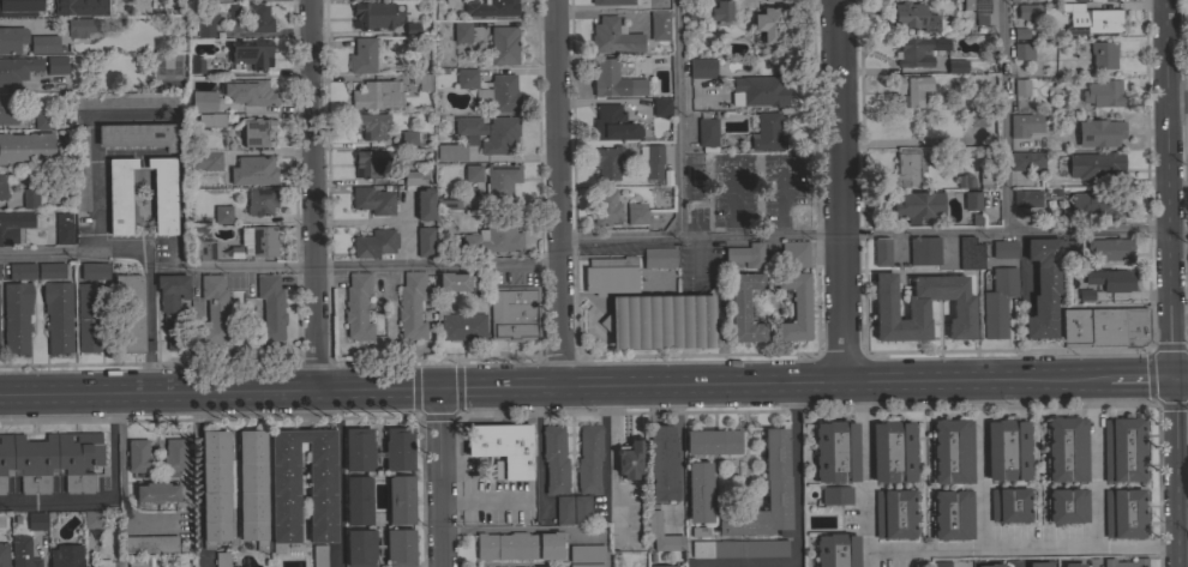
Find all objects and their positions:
building: (444, 0)
building: (772, 0)
building: (1016, 0)
building: (1031, 0)
building: (611, 1)
building: (1187, 6)
building: (79, 7)
building: (491, 7)
building: (7, 8)
building: (977, 8)
building: (690, 10)
building: (720, 11)
building: (1027, 11)
building: (372, 14)
building: (258, 17)
building: (911, 17)
building: (1092, 19)
building: (768, 23)
building: (205, 24)
building: (658, 25)
building: (83, 26)
road: (266, 31)
building: (406, 31)
building: (461, 31)
building: (1016, 35)
building: (613, 37)
building: (11, 38)
building: (44, 44)
building: (503, 44)
building: (917, 50)
building: (1022, 50)
building: (251, 53)
building: (1102, 54)
building: (362, 55)
building: (1187, 60)
building: (55, 64)
building: (196, 65)
building: (956, 66)
building: (701, 67)
building: (17, 68)
building: (466, 78)
building: (421, 80)
building: (613, 80)
building: (1020, 86)
building: (910, 89)
building: (757, 91)
building: (248, 92)
building: (1103, 94)
building: (376, 95)
building: (498, 95)
building: (126, 99)
road: (1177, 99)
building: (203, 101)
building: (661, 107)
building: (8, 109)
road: (1004, 115)
road: (677, 117)
building: (974, 117)
building: (211, 120)
building: (41, 121)
building: (1022, 123)
building: (371, 125)
building: (612, 125)
building: (257, 132)
building: (490, 132)
building: (768, 132)
building: (1099, 132)
building: (706, 133)
building: (137, 135)
building: (408, 138)
building: (26, 149)
building: (450, 152)
building: (205, 159)
building: (650, 161)
building: (1026, 161)
building: (607, 162)
building: (370, 163)
building: (1094, 165)
building: (80, 169)
building: (907, 169)
building: (253, 170)
building: (986, 176)
building: (413, 177)
building: (494, 177)
building: (965, 180)
building: (2, 187)
road: (1169, 188)
road: (838, 189)
road: (559, 192)
road: (312, 193)
building: (163, 194)
building: (119, 195)
building: (31, 198)
building: (1024, 198)
building: (373, 200)
building: (971, 200)
building: (260, 201)
building: (448, 203)
building: (424, 204)
building: (918, 204)
building: (1094, 204)
building: (605, 206)
building: (222, 213)
building: (636, 213)
building: (13, 225)
building: (62, 228)
road: (864, 230)
building: (493, 237)
building: (262, 241)
building: (425, 241)
building: (374, 243)
building: (1070, 248)
building: (1109, 248)
building: (203, 249)
building: (924, 249)
building: (1003, 249)
road: (113, 251)
building: (881, 252)
building: (794, 253)
building: (968, 253)
building: (745, 254)
building: (659, 258)
road: (388, 264)
building: (1187, 267)
building: (50, 270)
building: (94, 270)
building: (22, 271)
building: (610, 276)
building: (1110, 279)
building: (452, 282)
building: (1042, 286)
building: (1085, 296)
building: (997, 301)
building: (172, 304)
building: (410, 306)
building: (356, 307)
building: (743, 307)
building: (794, 307)
building: (920, 307)
building: (270, 308)
building: (214, 309)
building: (131, 310)
building: (514, 312)
road: (1180, 314)
building: (16, 316)
building: (58, 316)
building: (89, 316)
building: (659, 321)
building: (460, 326)
building: (1103, 326)
road: (148, 344)
road: (148, 369)
road: (1180, 376)
road: (1148, 378)
traffic signals: (1172, 378)
road: (562, 382)
traffic signals: (438, 386)
road: (438, 414)
building: (712, 441)
building: (503, 448)
building: (1066, 448)
building: (1123, 448)
building: (358, 450)
building: (397, 450)
road: (678, 450)
building: (1007, 450)
building: (950, 451)
building: (835, 452)
building: (892, 452)
building: (984, 452)
building: (174, 454)
building: (137, 456)
building: (588, 458)
building: (628, 458)
building: (553, 459)
building: (50, 460)
building: (1186, 460)
building: (661, 463)
road: (1093, 463)
road: (980, 464)
road: (864, 465)
road: (1174, 472)
road: (440, 476)
road: (337, 477)
road: (122, 478)
road: (197, 478)
building: (215, 487)
building: (252, 487)
building: (156, 491)
building: (698, 491)
building: (778, 495)
building: (835, 495)
building: (284, 496)
building: (356, 500)
building: (401, 500)
road: (110, 501)
building: (1010, 503)
building: (1066, 505)
building: (563, 509)
building: (581, 509)
building: (895, 513)
building: (1124, 513)
building: (950, 514)
building: (91, 519)
building: (36, 520)
building: (653, 521)
road: (794, 525)
road: (1181, 526)
road: (542, 527)
building: (695, 533)
building: (150, 543)
building: (518, 545)
building: (400, 547)
road: (1019, 547)
building: (360, 548)
building: (739, 548)
building: (835, 550)
building: (23, 553)
building: (586, 553)
building: (4, 554)
building: (319, 555)
building: (64, 556)
building: (222, 559)
road: (865, 559)
building: (140, 561)
building: (1126, 562)
building: (103, 563)
building: (116, 563)
building: (942, 563)
building: (1039, 563)
building: (586, 565)
building: (991, 565)
building: (1073, 565)
building: (392, 566)
building: (662, 566)

